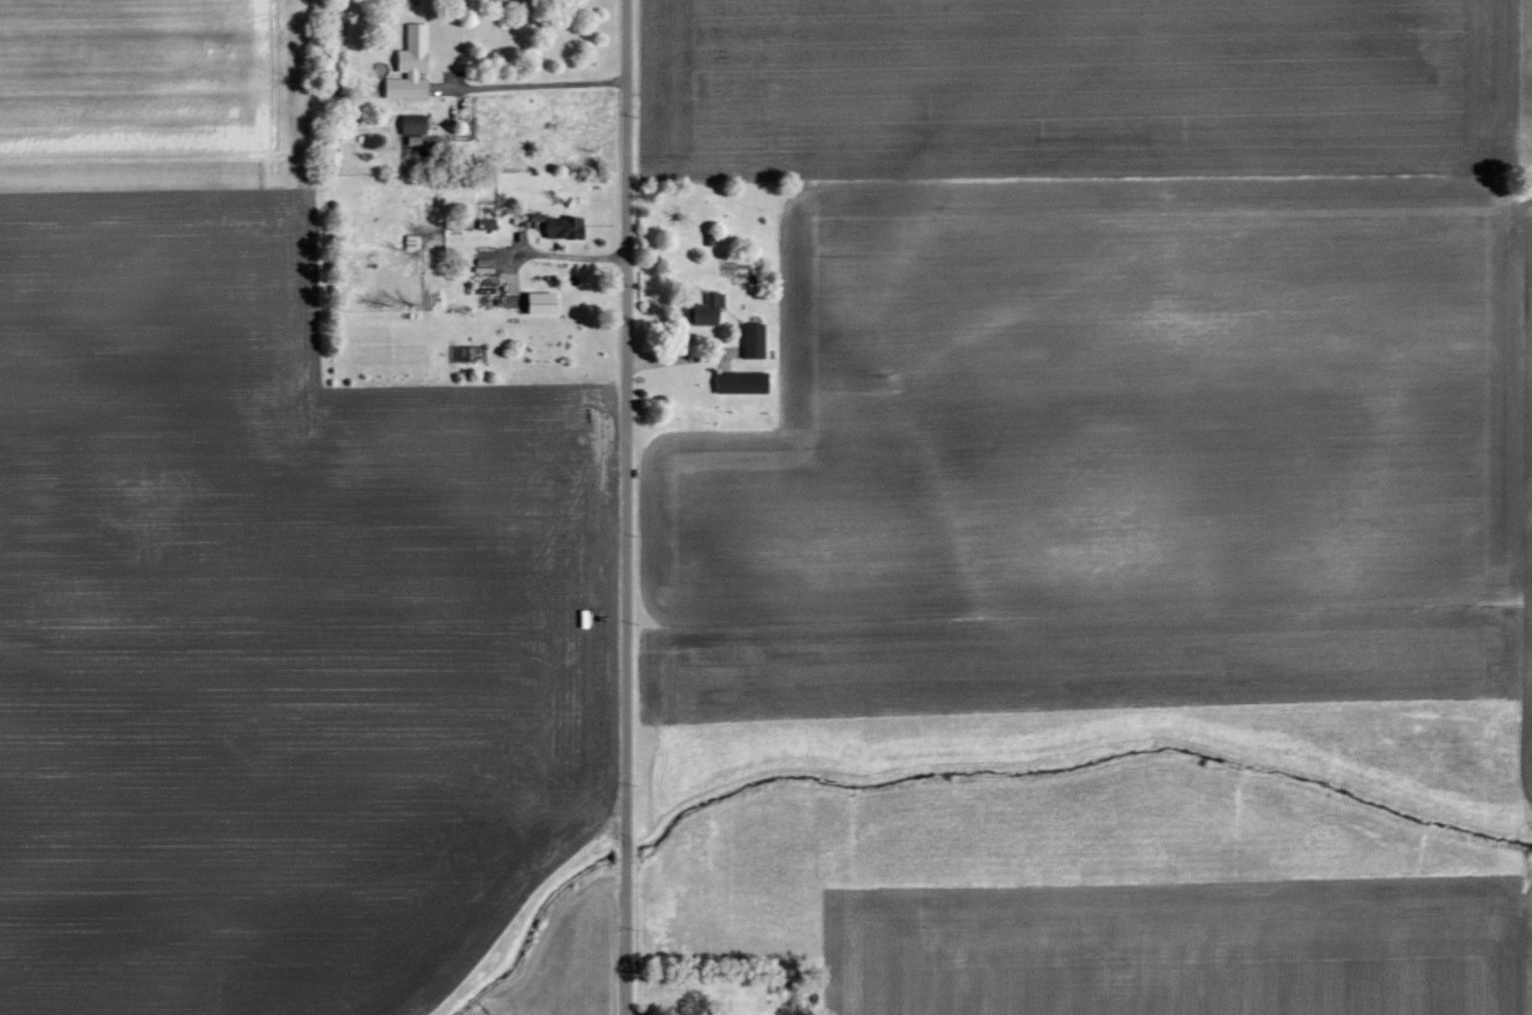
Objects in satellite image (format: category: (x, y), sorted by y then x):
building: (407, 64)
road: (530, 85)
building: (409, 124)
building: (558, 227)
building: (536, 303)
building: (701, 311)
building: (751, 341)
building: (739, 382)
road: (627, 507)

